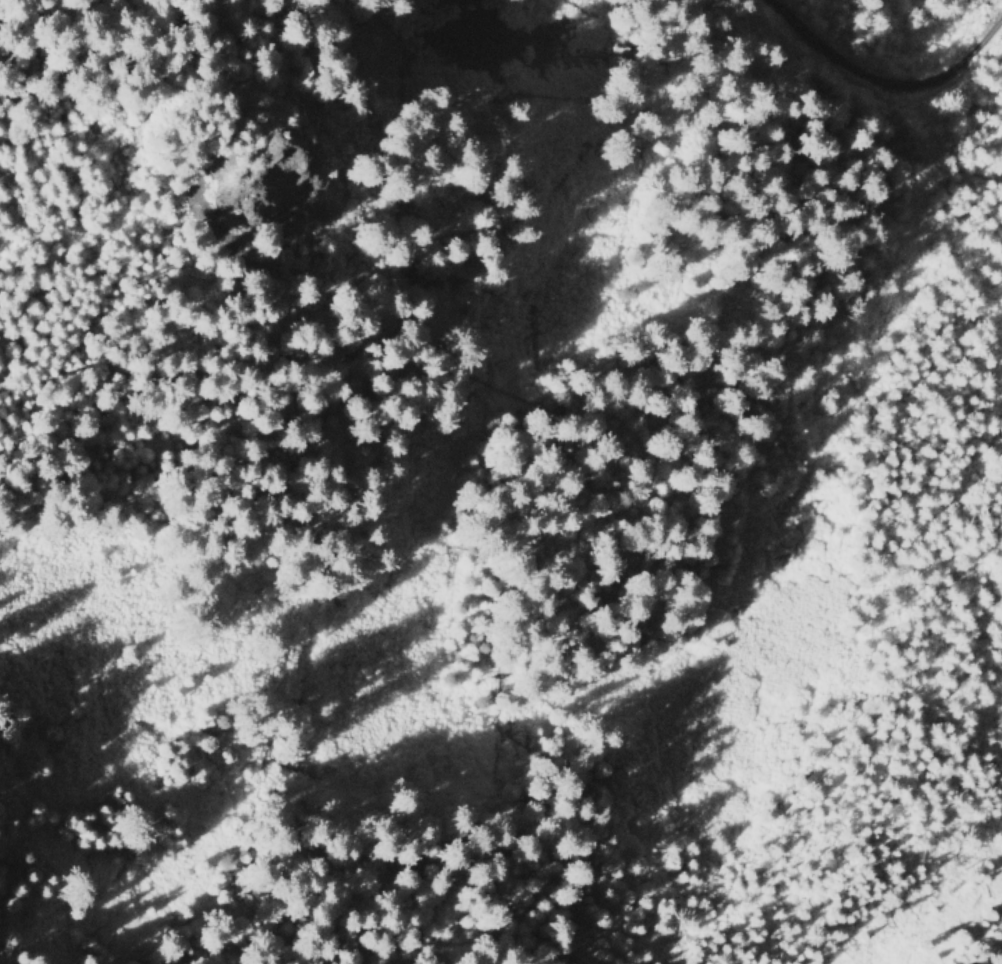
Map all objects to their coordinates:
road: (880, 81)

